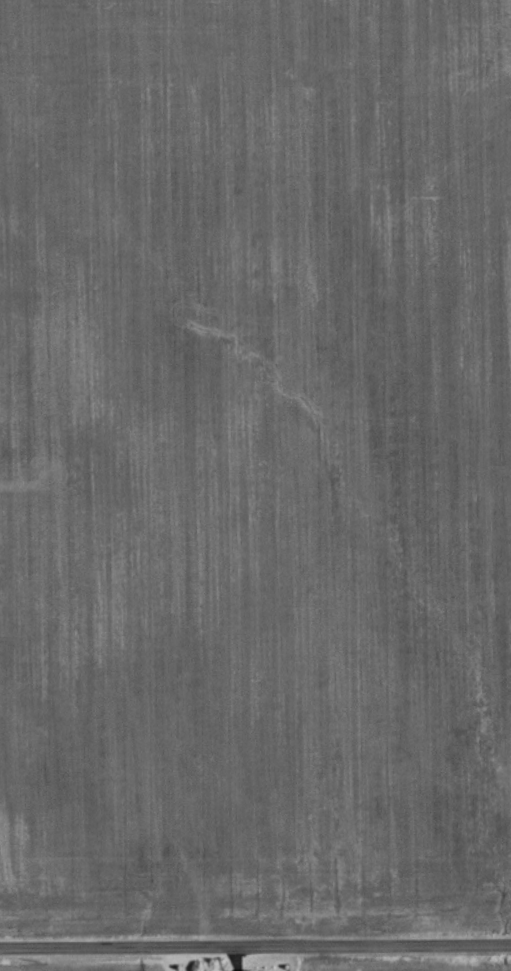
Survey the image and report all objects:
road: (255, 939)

